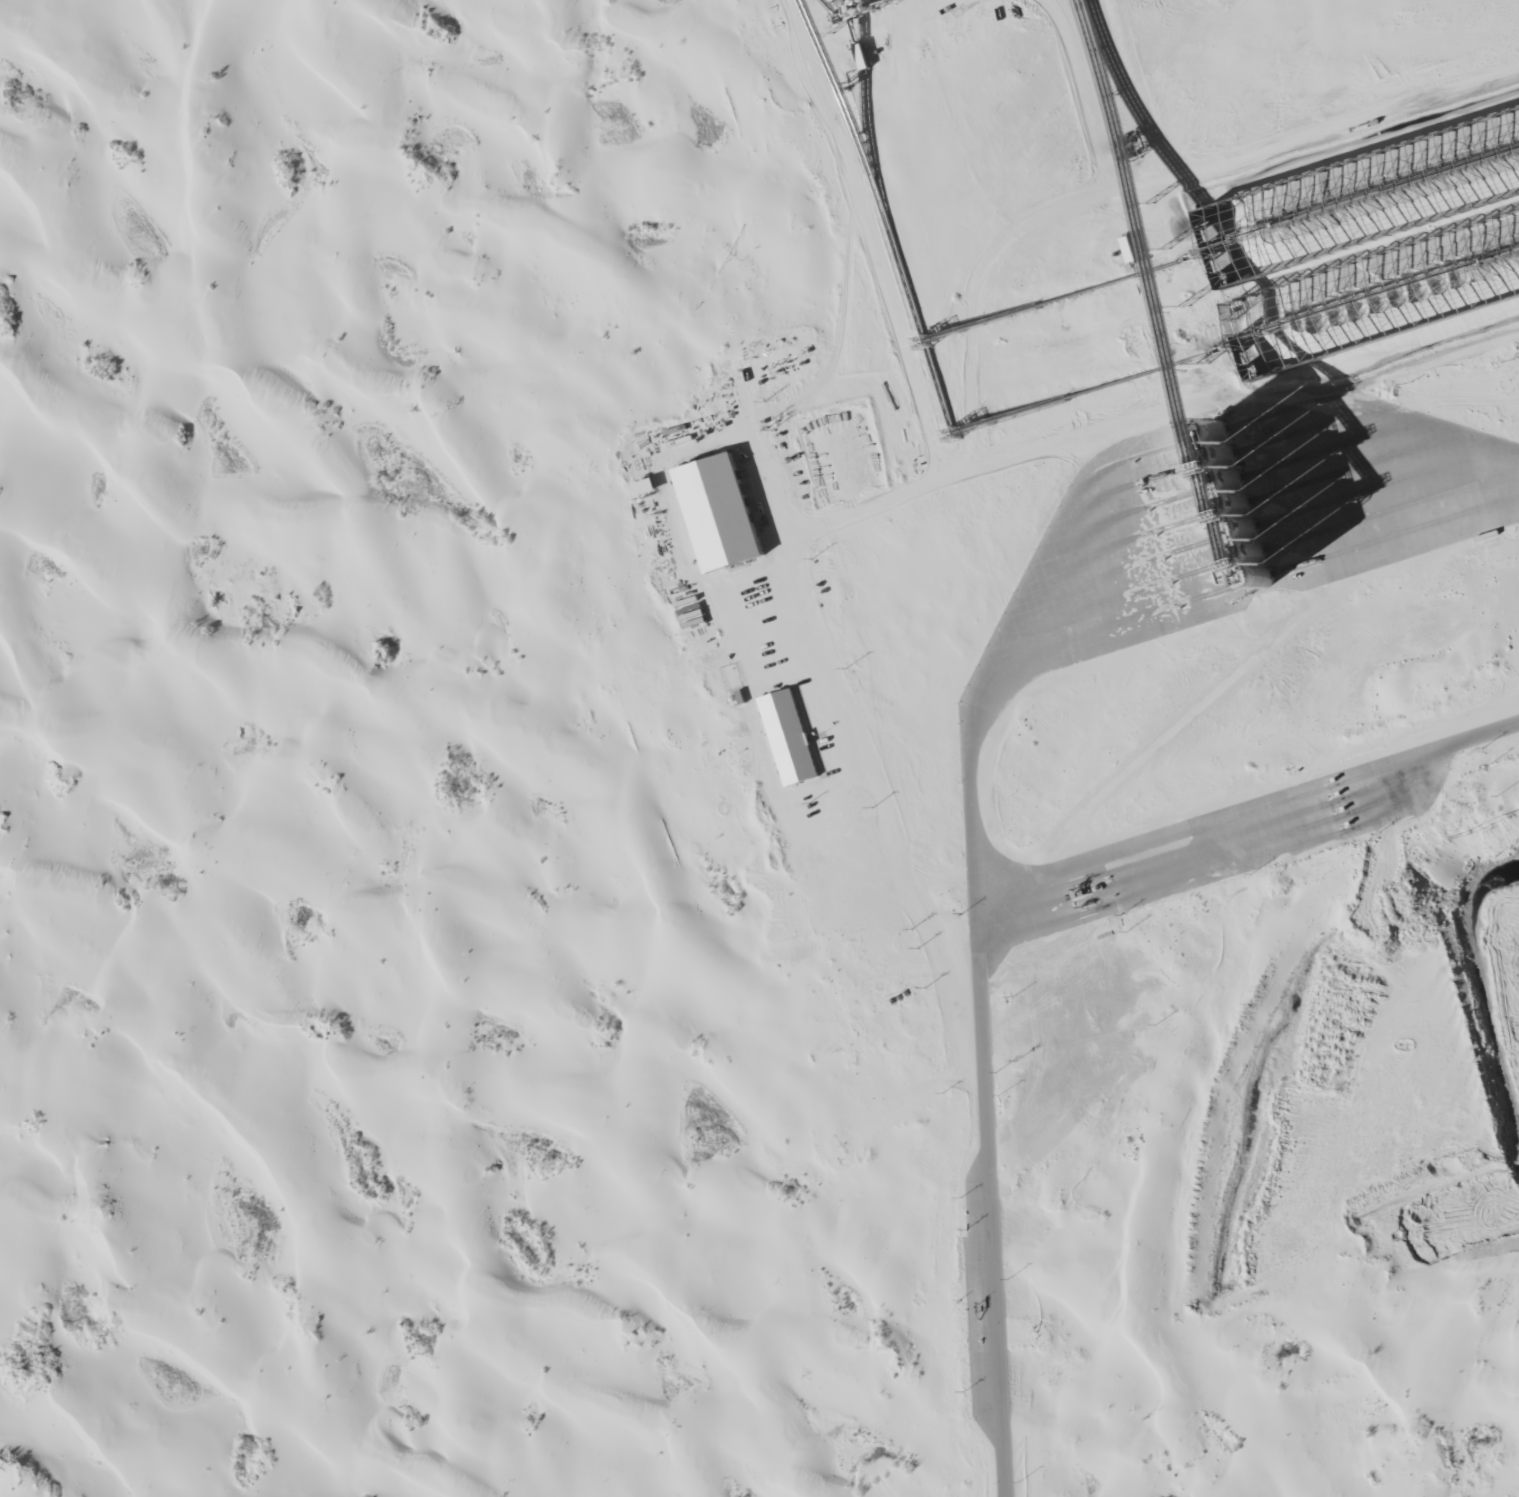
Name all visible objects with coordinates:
building: (790, 738)
road: (853, 742)
road: (986, 915)

